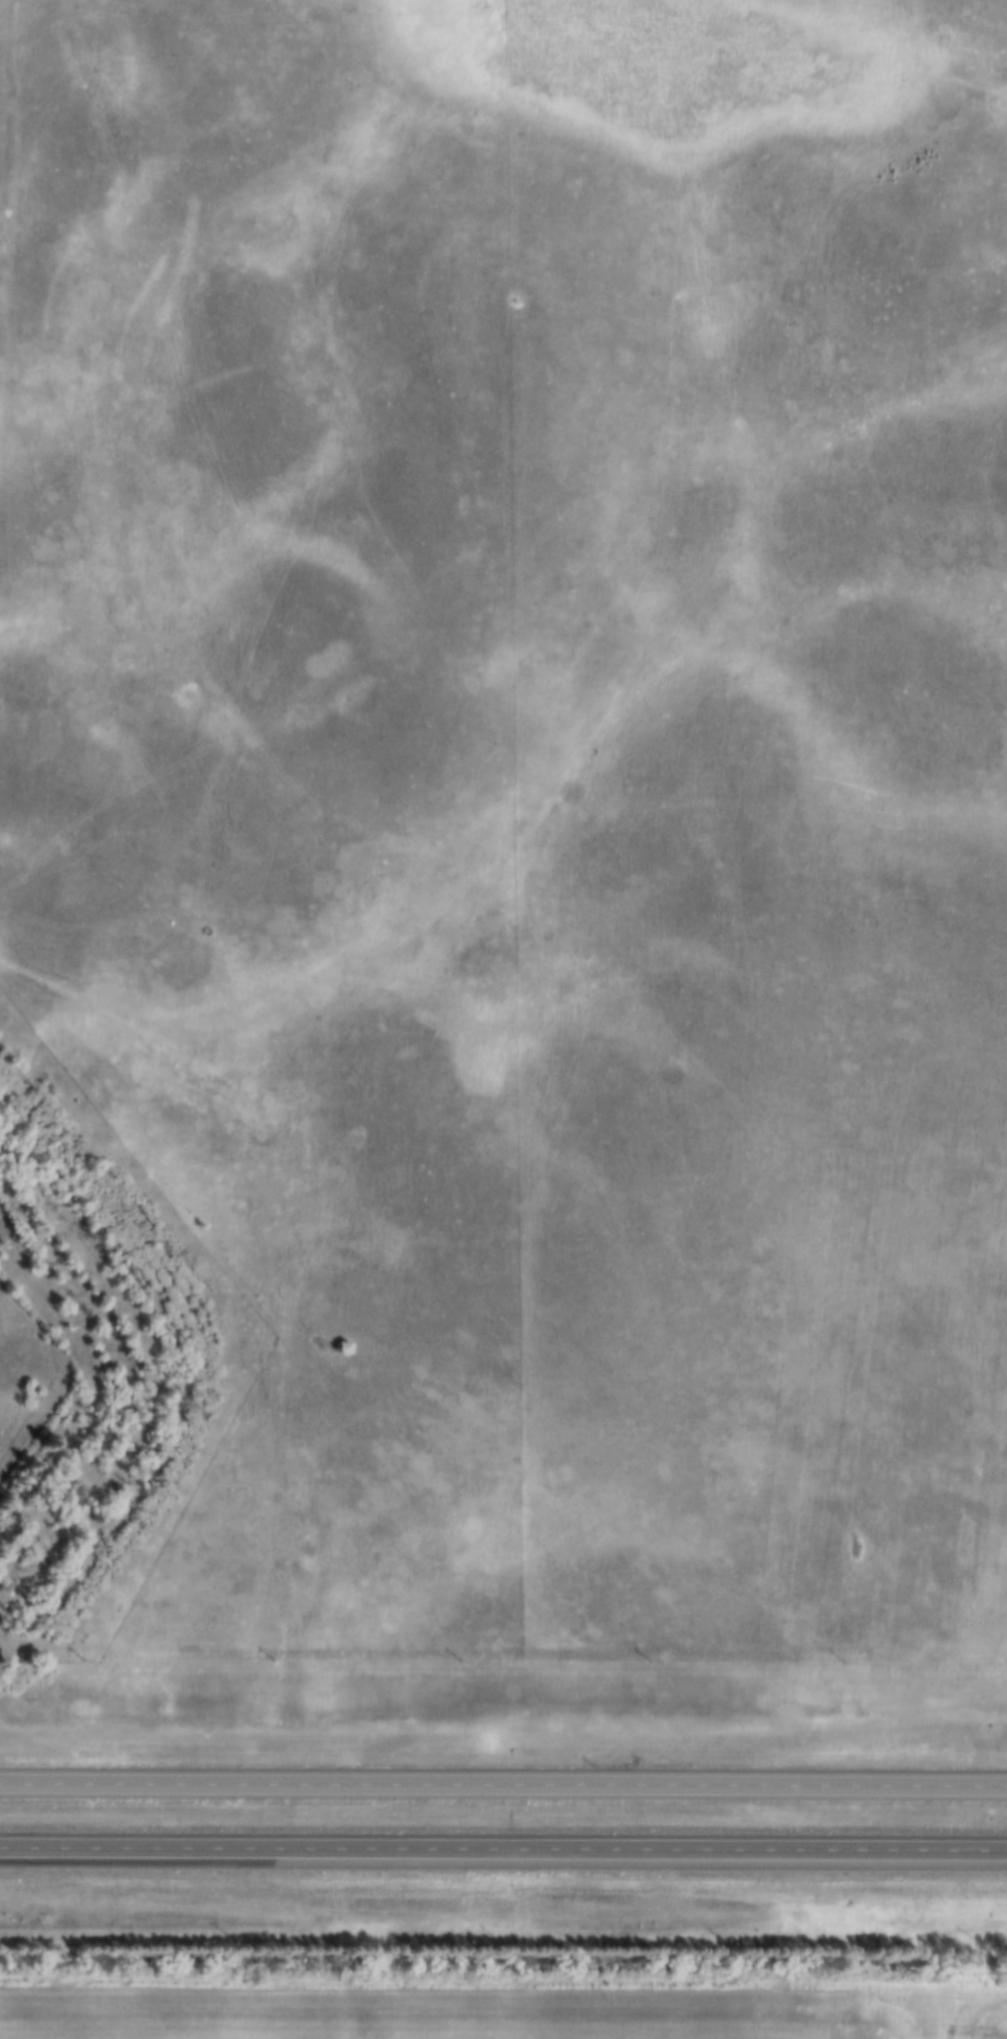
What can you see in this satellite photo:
road: (503, 1787)
road: (503, 1846)

